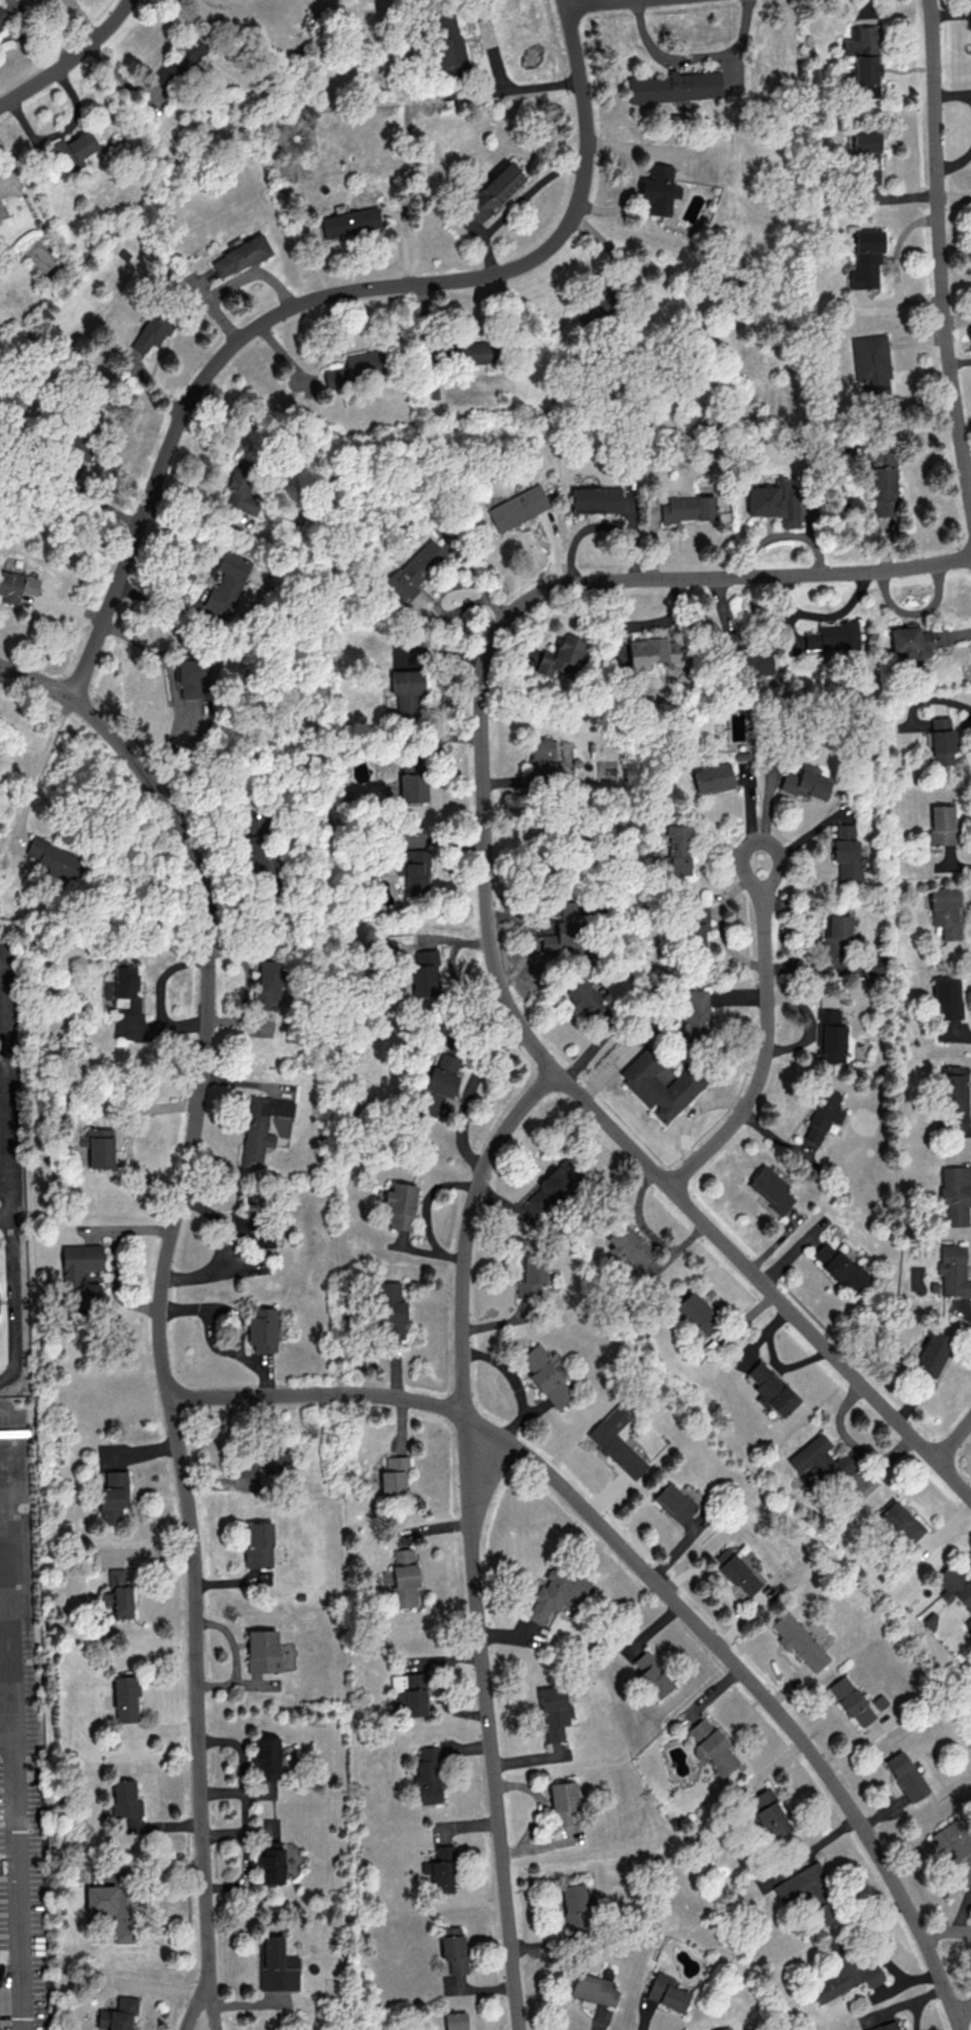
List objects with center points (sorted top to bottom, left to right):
road: (594, 2)
building: (0, 27)
road: (38, 35)
building: (447, 44)
road: (68, 57)
building: (864, 59)
road: (707, 66)
road: (502, 79)
building: (675, 86)
building: (73, 150)
building: (867, 154)
building: (658, 190)
building: (493, 191)
road: (516, 206)
building: (350, 222)
road: (941, 254)
building: (240, 256)
building: (866, 260)
road: (324, 303)
building: (150, 333)
building: (468, 350)
building: (871, 364)
building: (357, 367)
building: (883, 482)
building: (242, 487)
building: (596, 499)
building: (775, 502)
building: (517, 507)
building: (688, 508)
road: (597, 525)
building: (415, 569)
road: (760, 573)
building: (227, 582)
building: (16, 586)
building: (832, 636)
building: (916, 640)
building: (656, 652)
building: (560, 657)
building: (754, 661)
building: (195, 677)
building: (407, 690)
building: (942, 740)
building: (712, 778)
building: (806, 782)
building: (412, 787)
building: (942, 824)
road: (758, 838)
building: (678, 848)
building: (257, 853)
building: (848, 853)
building: (55, 858)
building: (415, 873)
building: (945, 911)
building: (695, 925)
building: (563, 928)
building: (425, 973)
building: (267, 983)
building: (126, 988)
building: (583, 995)
building: (947, 998)
building: (694, 1016)
building: (829, 1036)
road: (764, 1059)
building: (660, 1084)
building: (952, 1089)
road: (5, 1091)
building: (435, 1091)
road: (468, 1092)
road: (578, 1096)
building: (822, 1114)
building: (261, 1127)
building: (98, 1146)
building: (552, 1186)
building: (770, 1189)
building: (954, 1195)
building: (400, 1205)
building: (261, 1239)
building: (628, 1244)
road: (112, 1259)
building: (838, 1266)
building: (953, 1271)
building: (532, 1273)
building: (81, 1274)
road: (163, 1301)
road: (10, 1302)
building: (391, 1309)
building: (698, 1312)
building: (262, 1328)
building: (932, 1352)
building: (546, 1377)
building: (770, 1389)
building: (616, 1441)
road: (956, 1443)
parking lot: (17, 1455)
building: (813, 1456)
road: (3, 1461)
building: (265, 1461)
building: (394, 1477)
building: (113, 1496)
building: (674, 1502)
road: (4, 1507)
building: (901, 1521)
road: (472, 1539)
building: (258, 1544)
building: (736, 1571)
road: (11, 1574)
building: (116, 1576)
building: (402, 1578)
road: (655, 1578)
road: (722, 1584)
building: (954, 1586)
building: (557, 1593)
building: (118, 1600)
building: (970, 1626)
building: (799, 1641)
building: (263, 1651)
road: (235, 1656)
building: (653, 1675)
building: (410, 1692)
building: (125, 1699)
building: (851, 1701)
building: (879, 1701)
building: (553, 1712)
road: (8, 1736)
building: (711, 1747)
building: (267, 1757)
building: (428, 1775)
building: (906, 1775)
building: (125, 1798)
building: (562, 1801)
building: (769, 1813)
building: (955, 1848)
building: (271, 1863)
building: (443, 1869)
road: (19, 1883)
building: (801, 1887)
building: (114, 1900)
building: (575, 1905)
road: (945, 1931)
building: (453, 1948)
building: (277, 1966)
building: (845, 1978)
building: (594, 1988)
building: (667, 1991)
road: (963, 2013)
building: (117, 2014)
building: (455, 2020)
building: (888, 2026)
building: (721, 2028)

